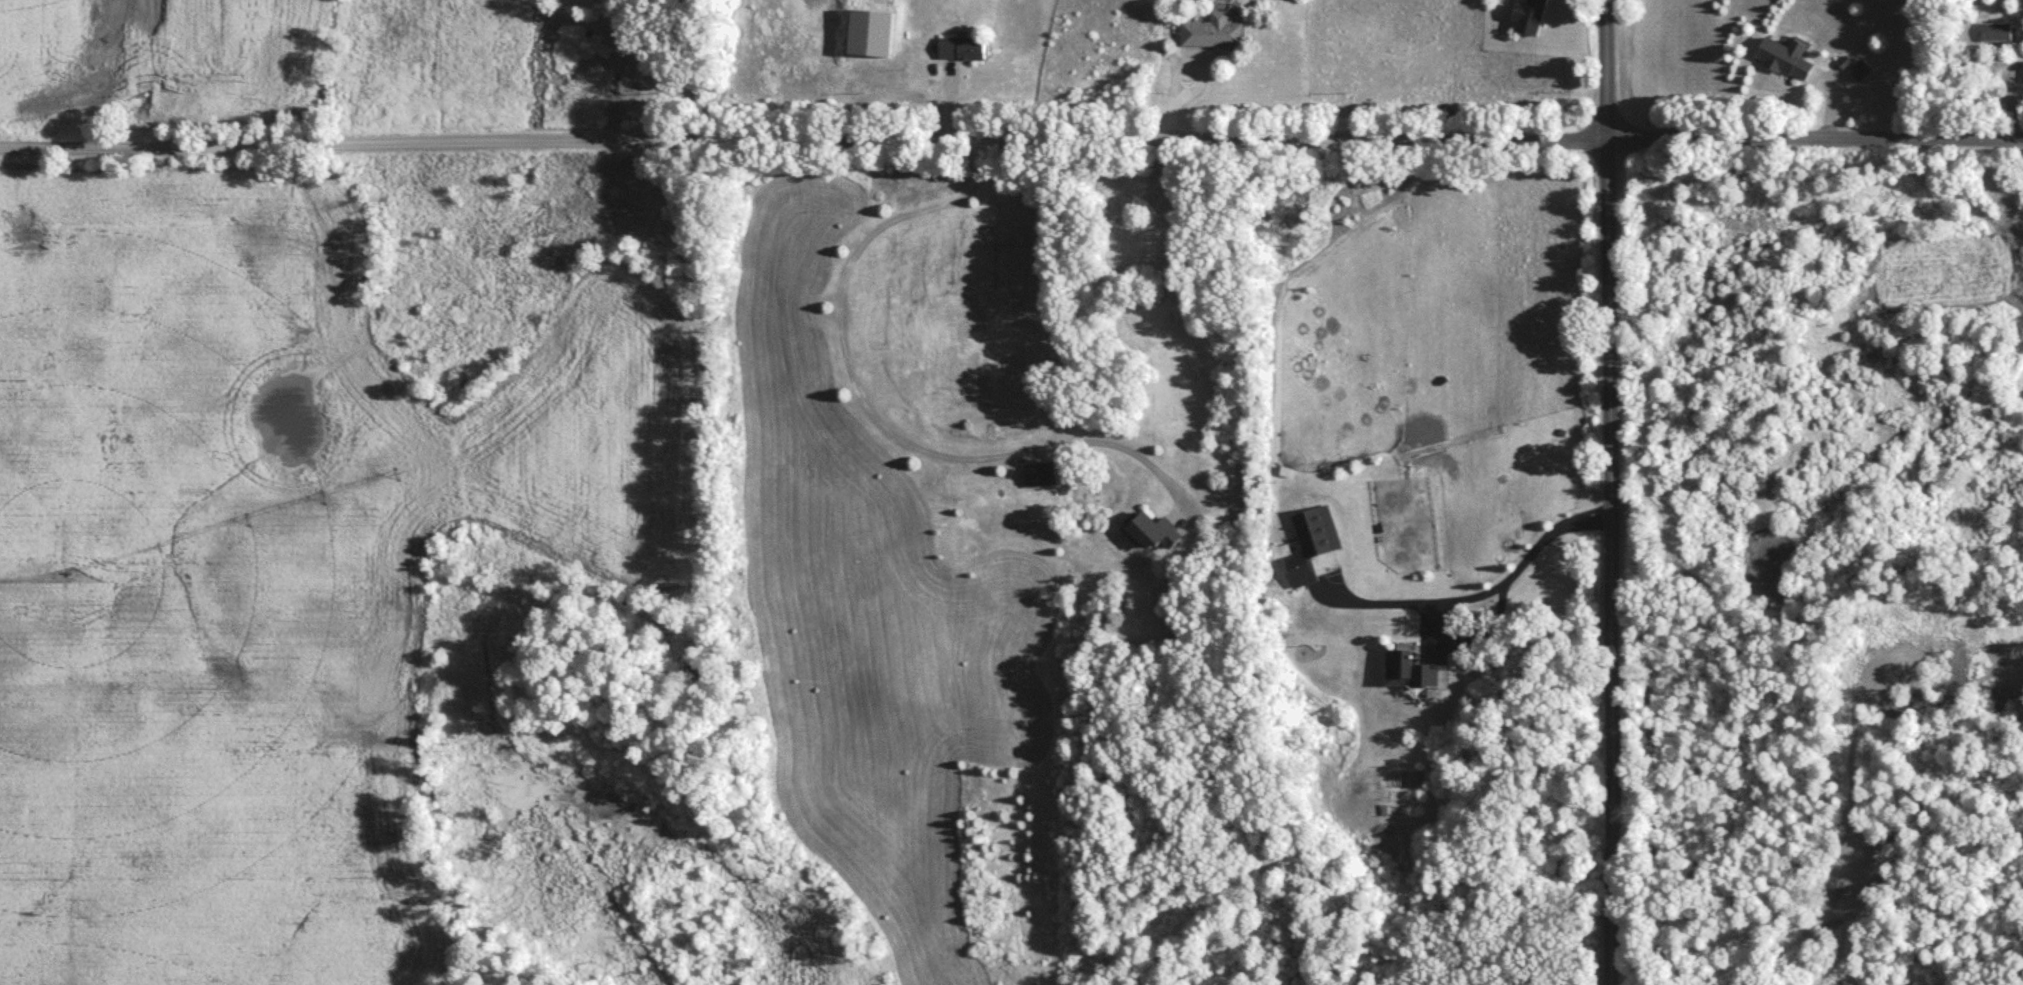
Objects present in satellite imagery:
building: (1526, 20)
building: (1210, 37)
building: (1994, 37)
building: (958, 53)
building: (1781, 63)
road: (679, 72)
building: (2022, 76)
road: (1011, 143)
road: (871, 412)
building: (1037, 479)
road: (1610, 492)
building: (1149, 535)
building: (1313, 535)
road: (1491, 585)
building: (1395, 670)
building: (1424, 679)

